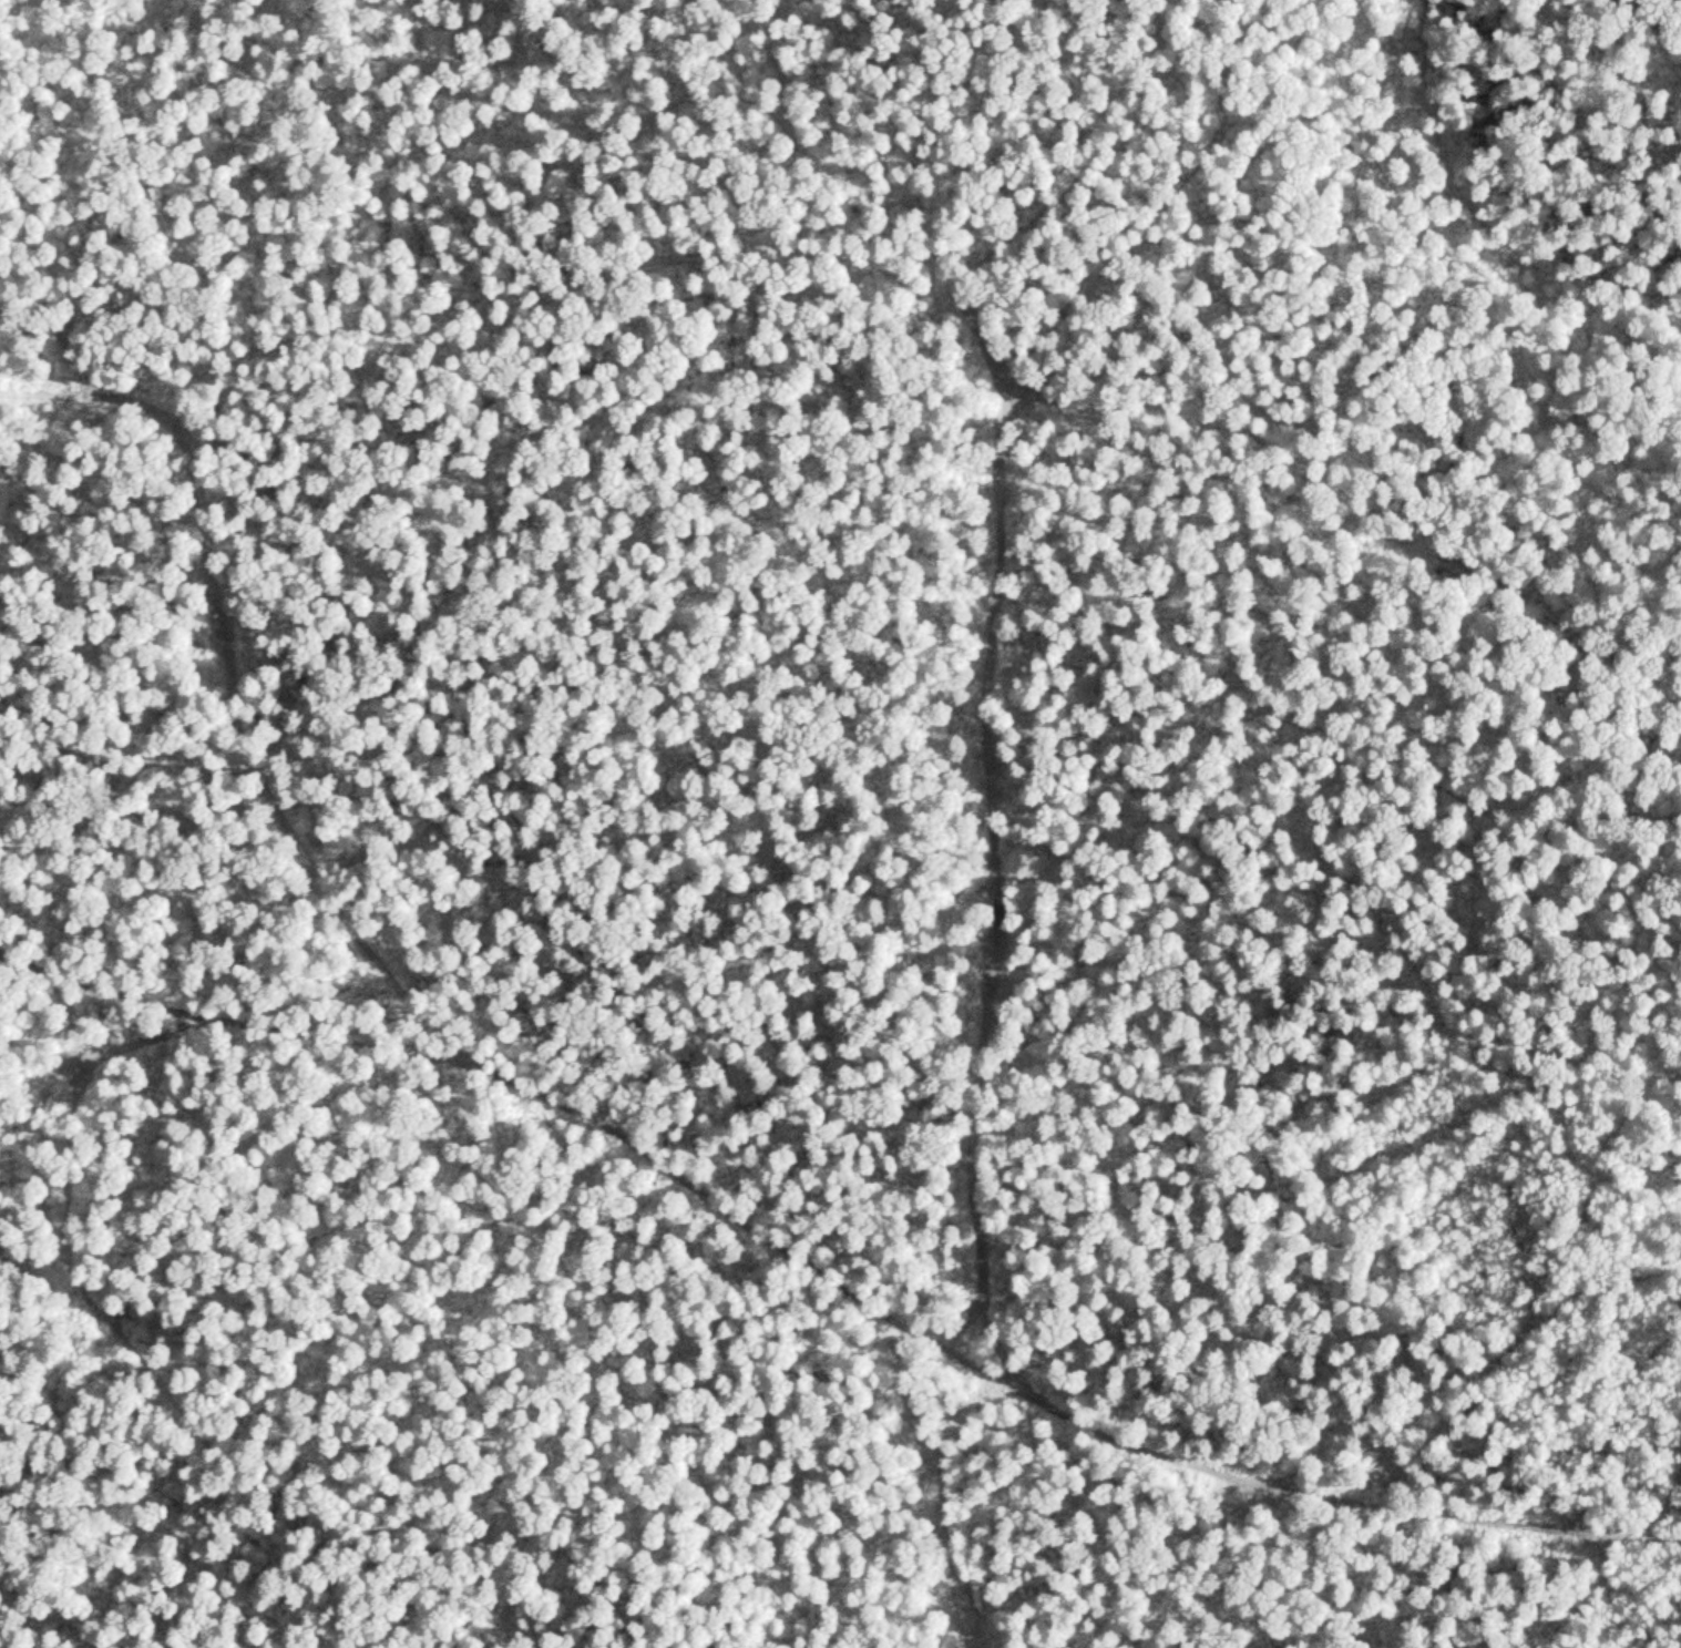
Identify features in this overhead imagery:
road: (648, 1173)

